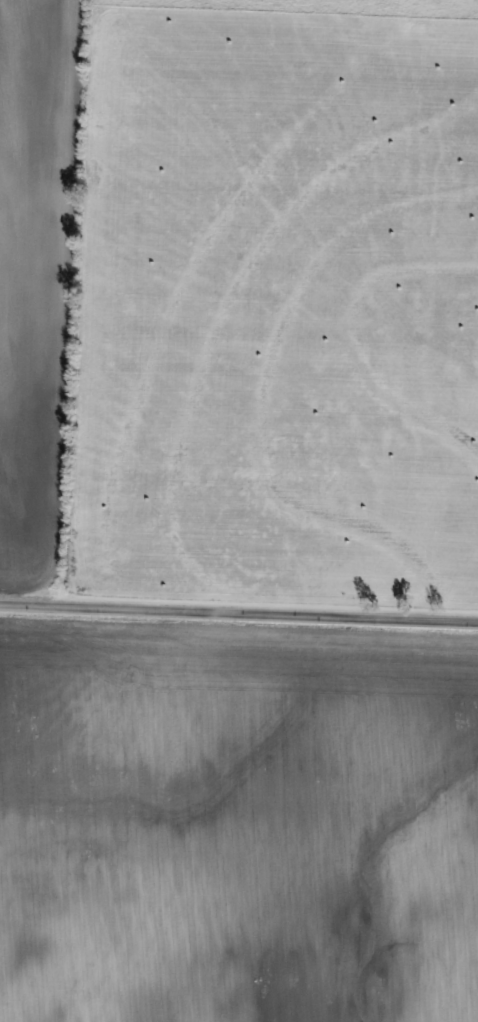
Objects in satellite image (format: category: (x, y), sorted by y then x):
road: (238, 613)

